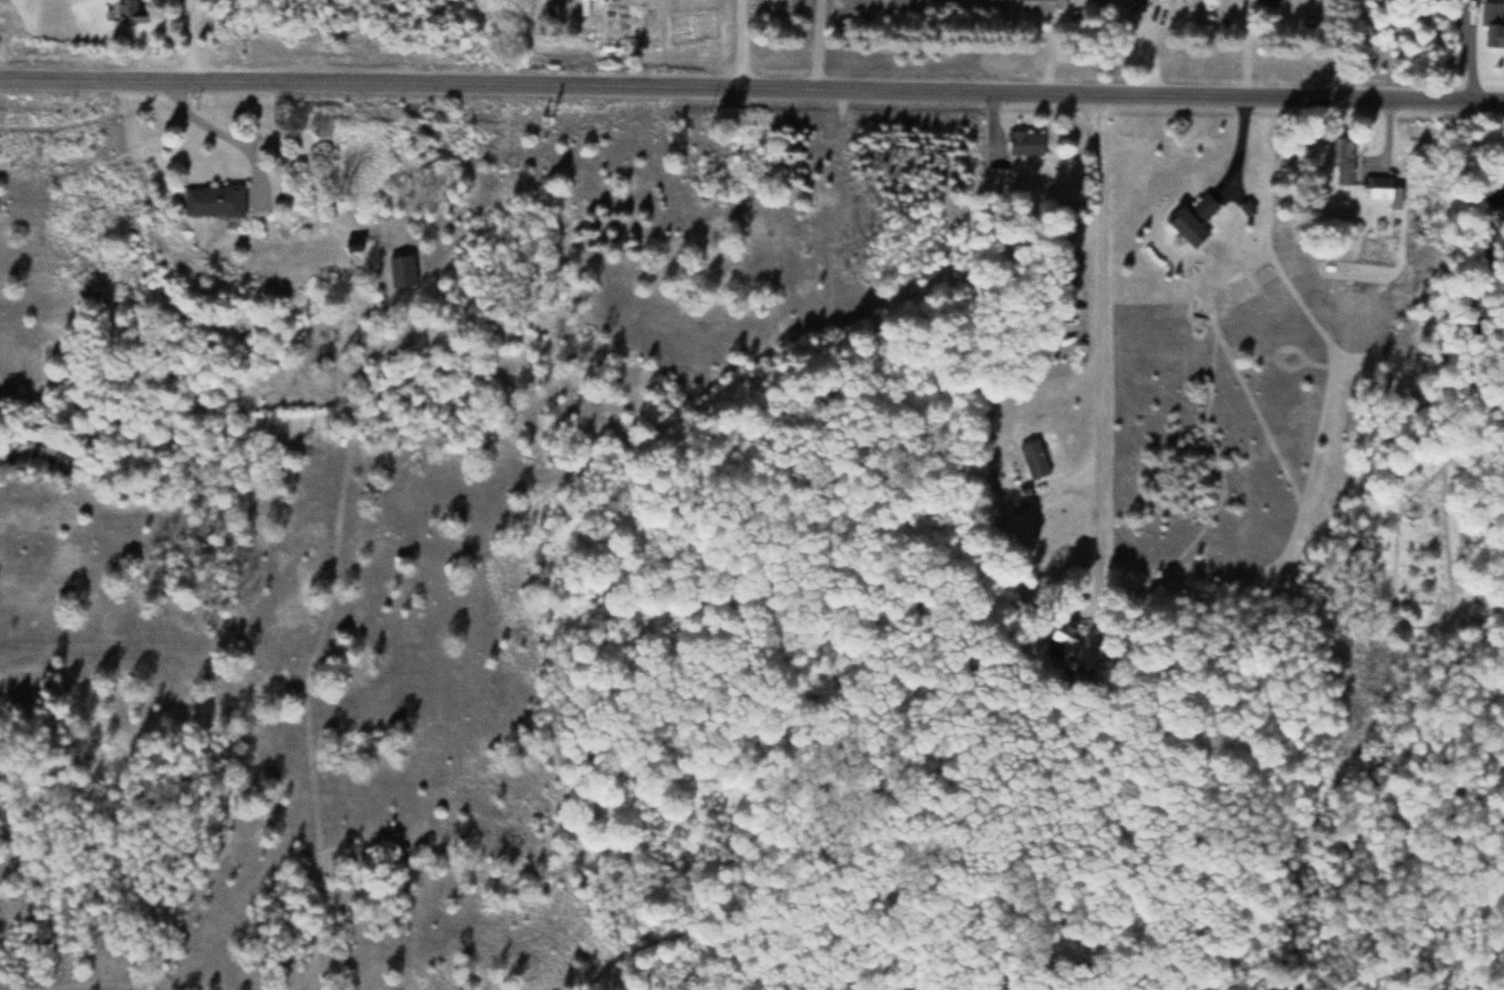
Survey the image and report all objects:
building: (1282, 0)
building: (1043, 5)
building: (127, 11)
building: (1491, 24)
road: (751, 91)
building: (1026, 142)
building: (1343, 159)
building: (996, 179)
building: (1378, 187)
building: (209, 199)
building: (1191, 218)
building: (402, 270)
building: (1032, 457)

